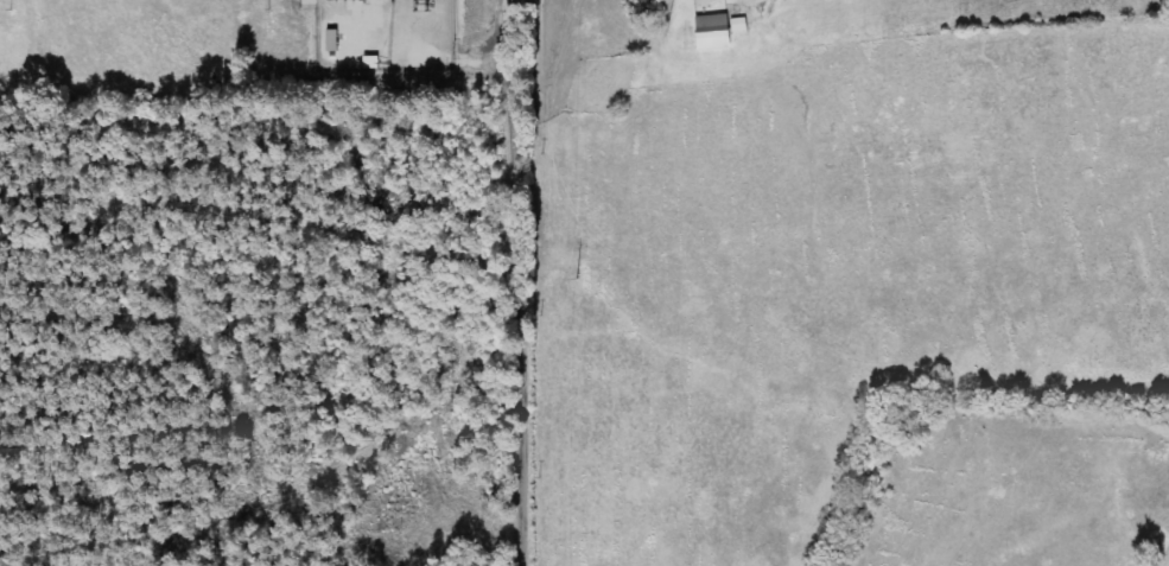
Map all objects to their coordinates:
building: (736, 25)
building: (709, 32)
building: (348, 52)
road: (515, 282)

